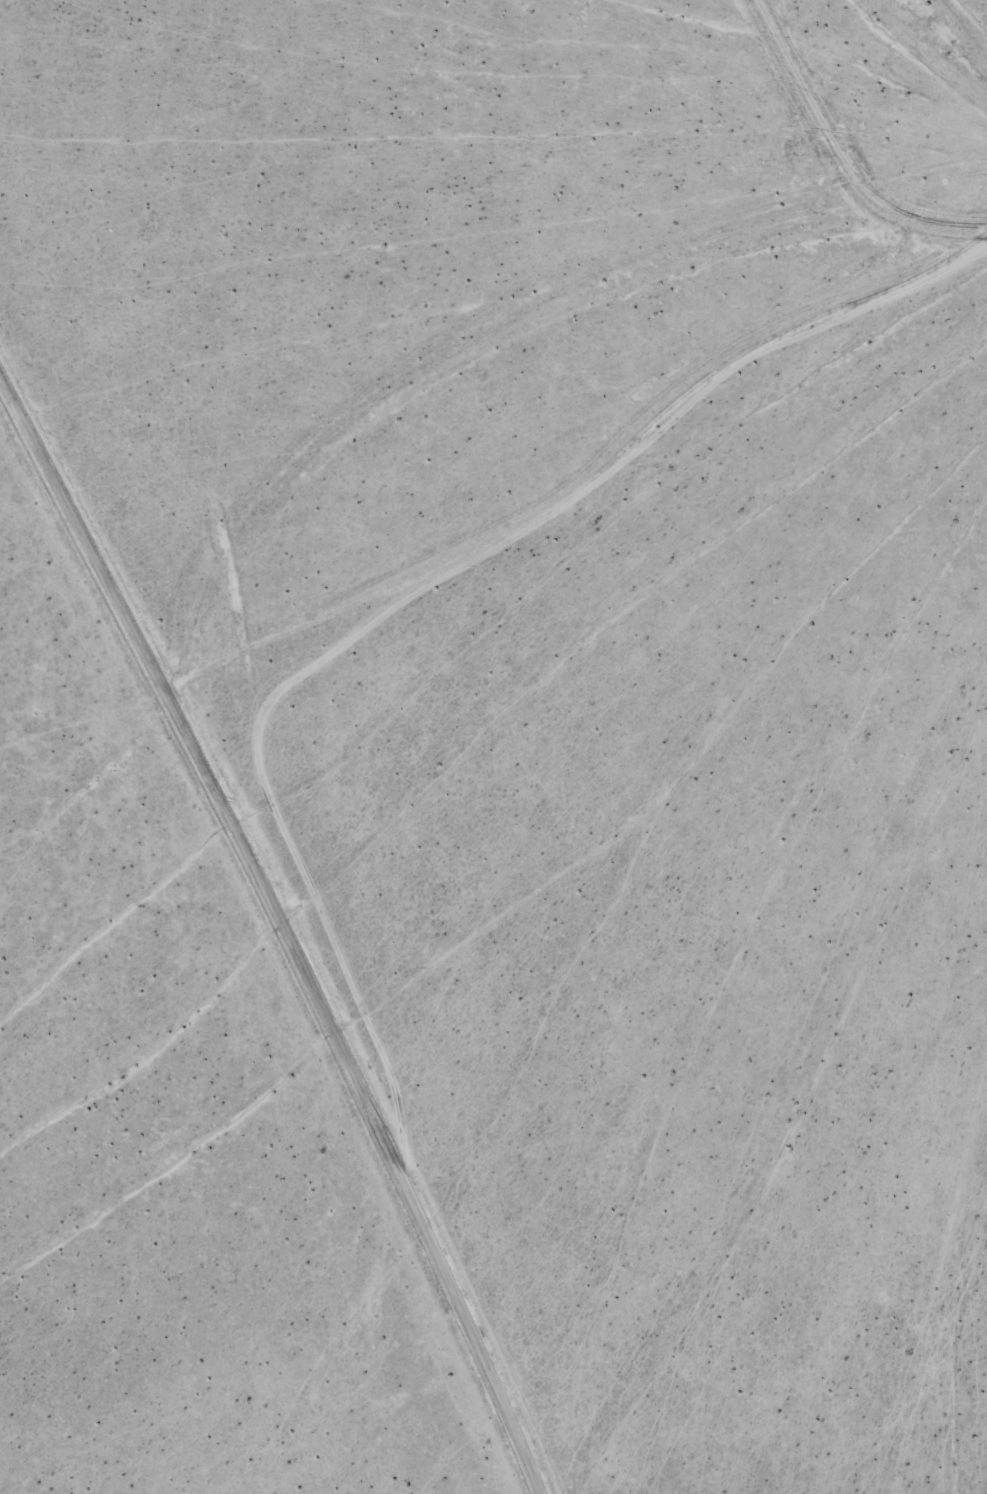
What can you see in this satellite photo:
road: (953, 28)
road: (194, 628)
road: (286, 923)

